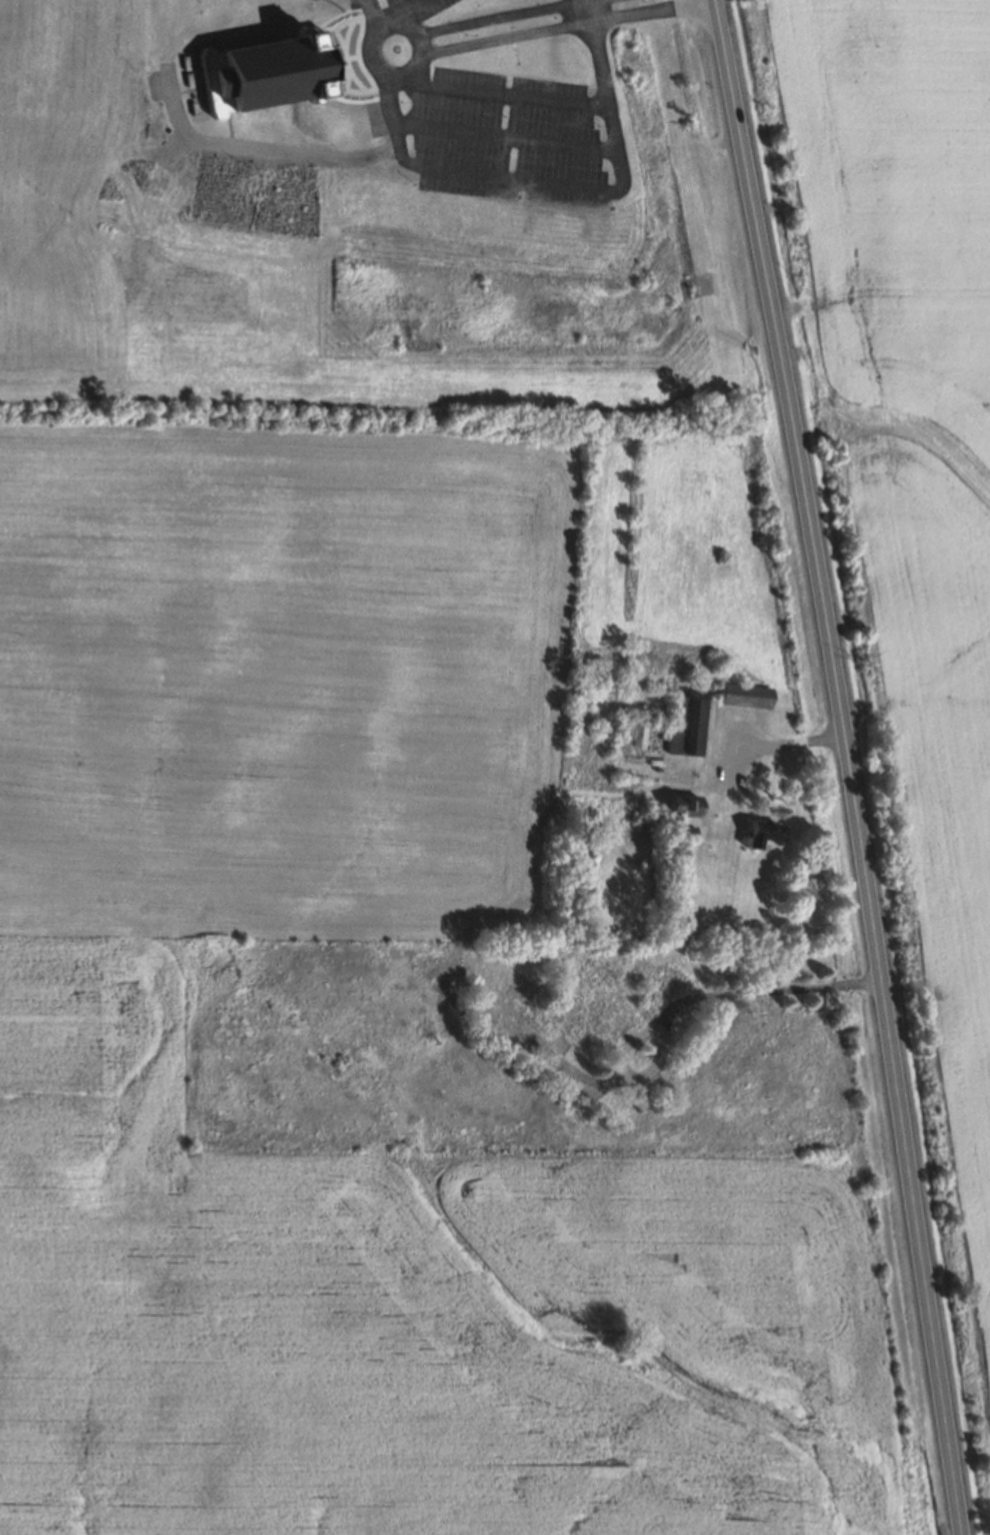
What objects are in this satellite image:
road: (398, 12)
road: (373, 14)
road: (495, 17)
road: (564, 29)
road: (408, 32)
building: (266, 75)
road: (500, 93)
road: (603, 98)
road: (393, 119)
road: (503, 137)
road: (259, 148)
road: (510, 179)
building: (745, 695)
building: (689, 726)
building: (633, 736)
road: (789, 741)
road: (848, 765)
building: (684, 804)
building: (763, 833)
road: (685, 1000)

